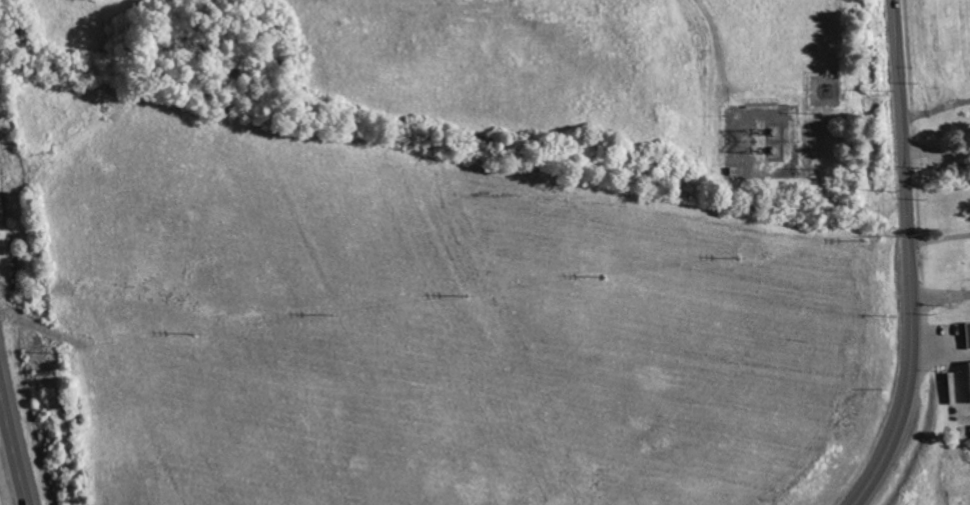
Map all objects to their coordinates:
road: (936, 151)
road: (939, 238)
road: (909, 258)
road: (941, 299)
building: (967, 334)
building: (969, 375)
road: (13, 449)

